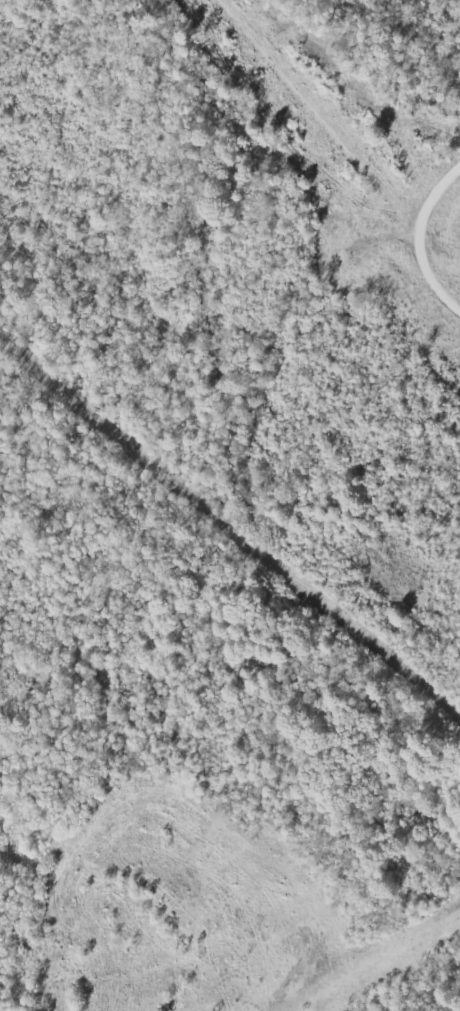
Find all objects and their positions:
road: (442, 196)
road: (428, 261)

